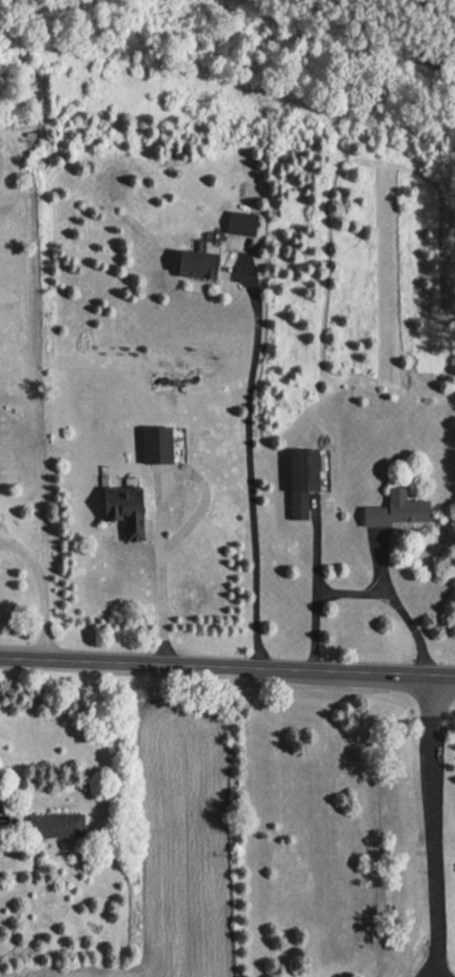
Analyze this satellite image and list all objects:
road: (454, 0)
building: (239, 223)
building: (191, 263)
building: (153, 444)
road: (251, 473)
building: (297, 481)
building: (120, 507)
road: (160, 510)
building: (394, 510)
road: (42, 589)
road: (313, 592)
road: (352, 592)
road: (401, 610)
road: (227, 666)
road: (435, 821)
building: (56, 826)
road: (431, 972)
road: (438, 972)

